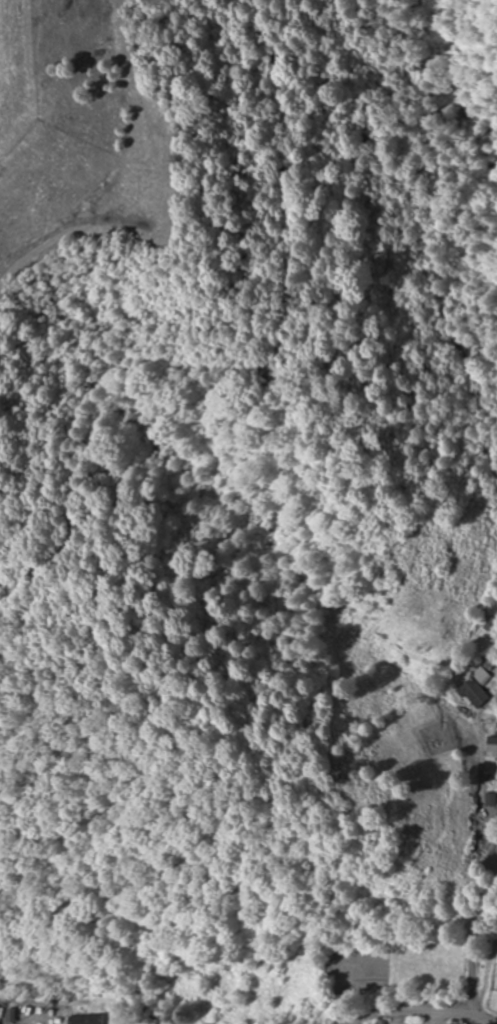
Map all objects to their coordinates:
building: (481, 693)
building: (468, 709)
building: (494, 747)
road: (204, 873)
road: (474, 949)
road: (417, 1011)
building: (90, 1019)

